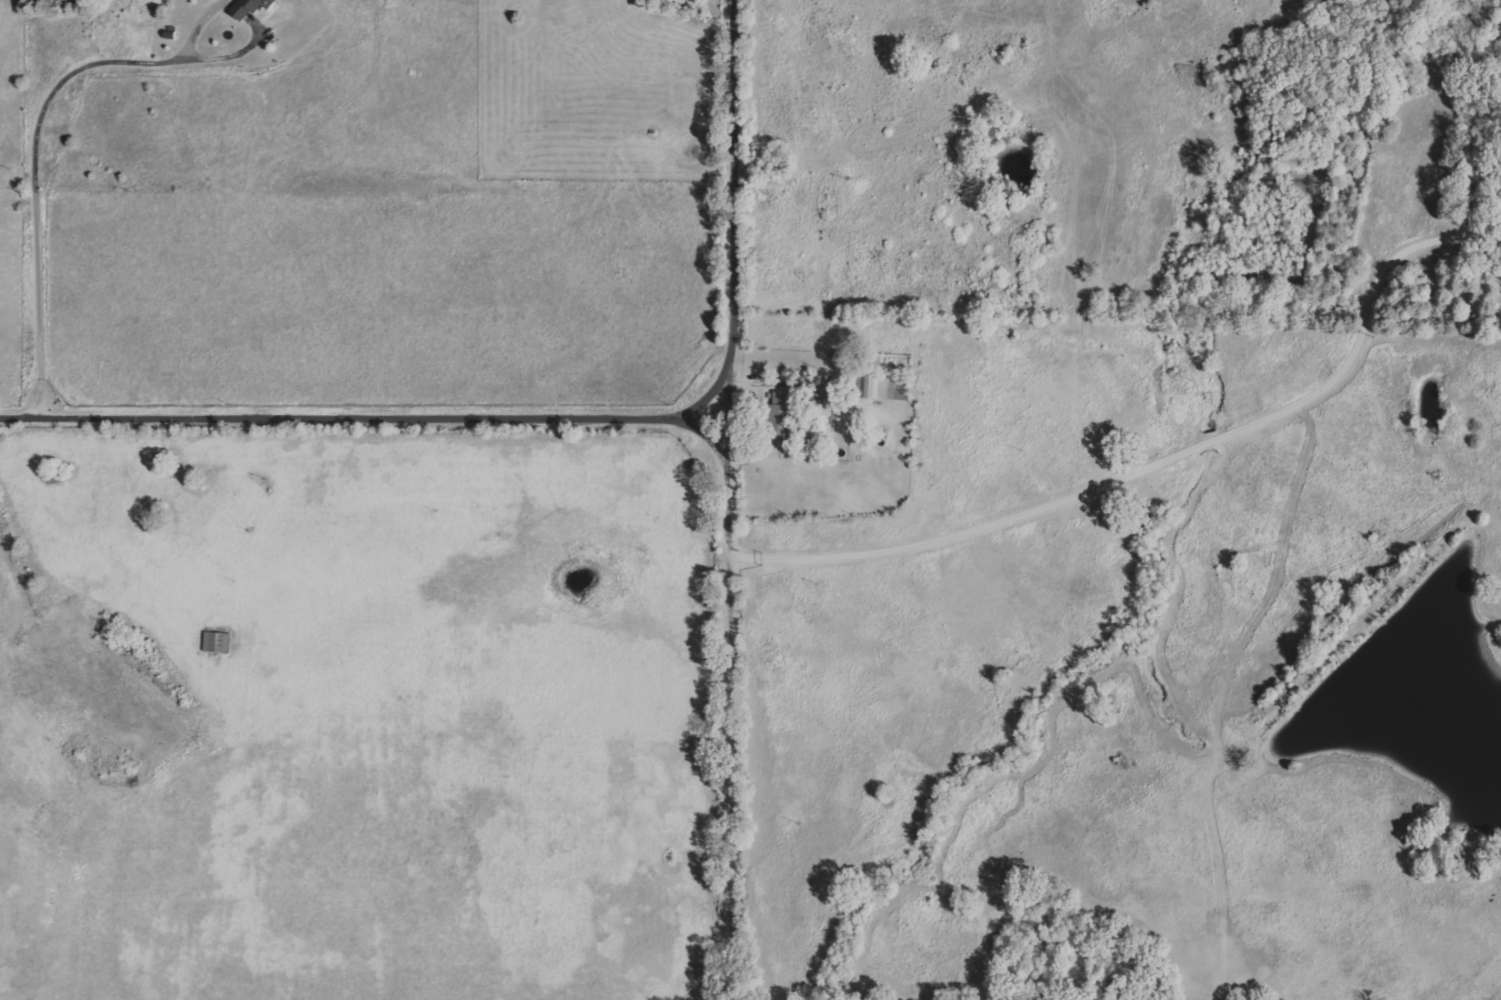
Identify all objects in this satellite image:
building: (252, 8)
road: (35, 168)
road: (177, 380)
building: (786, 411)
road: (360, 424)
road: (1154, 460)
road: (722, 500)

